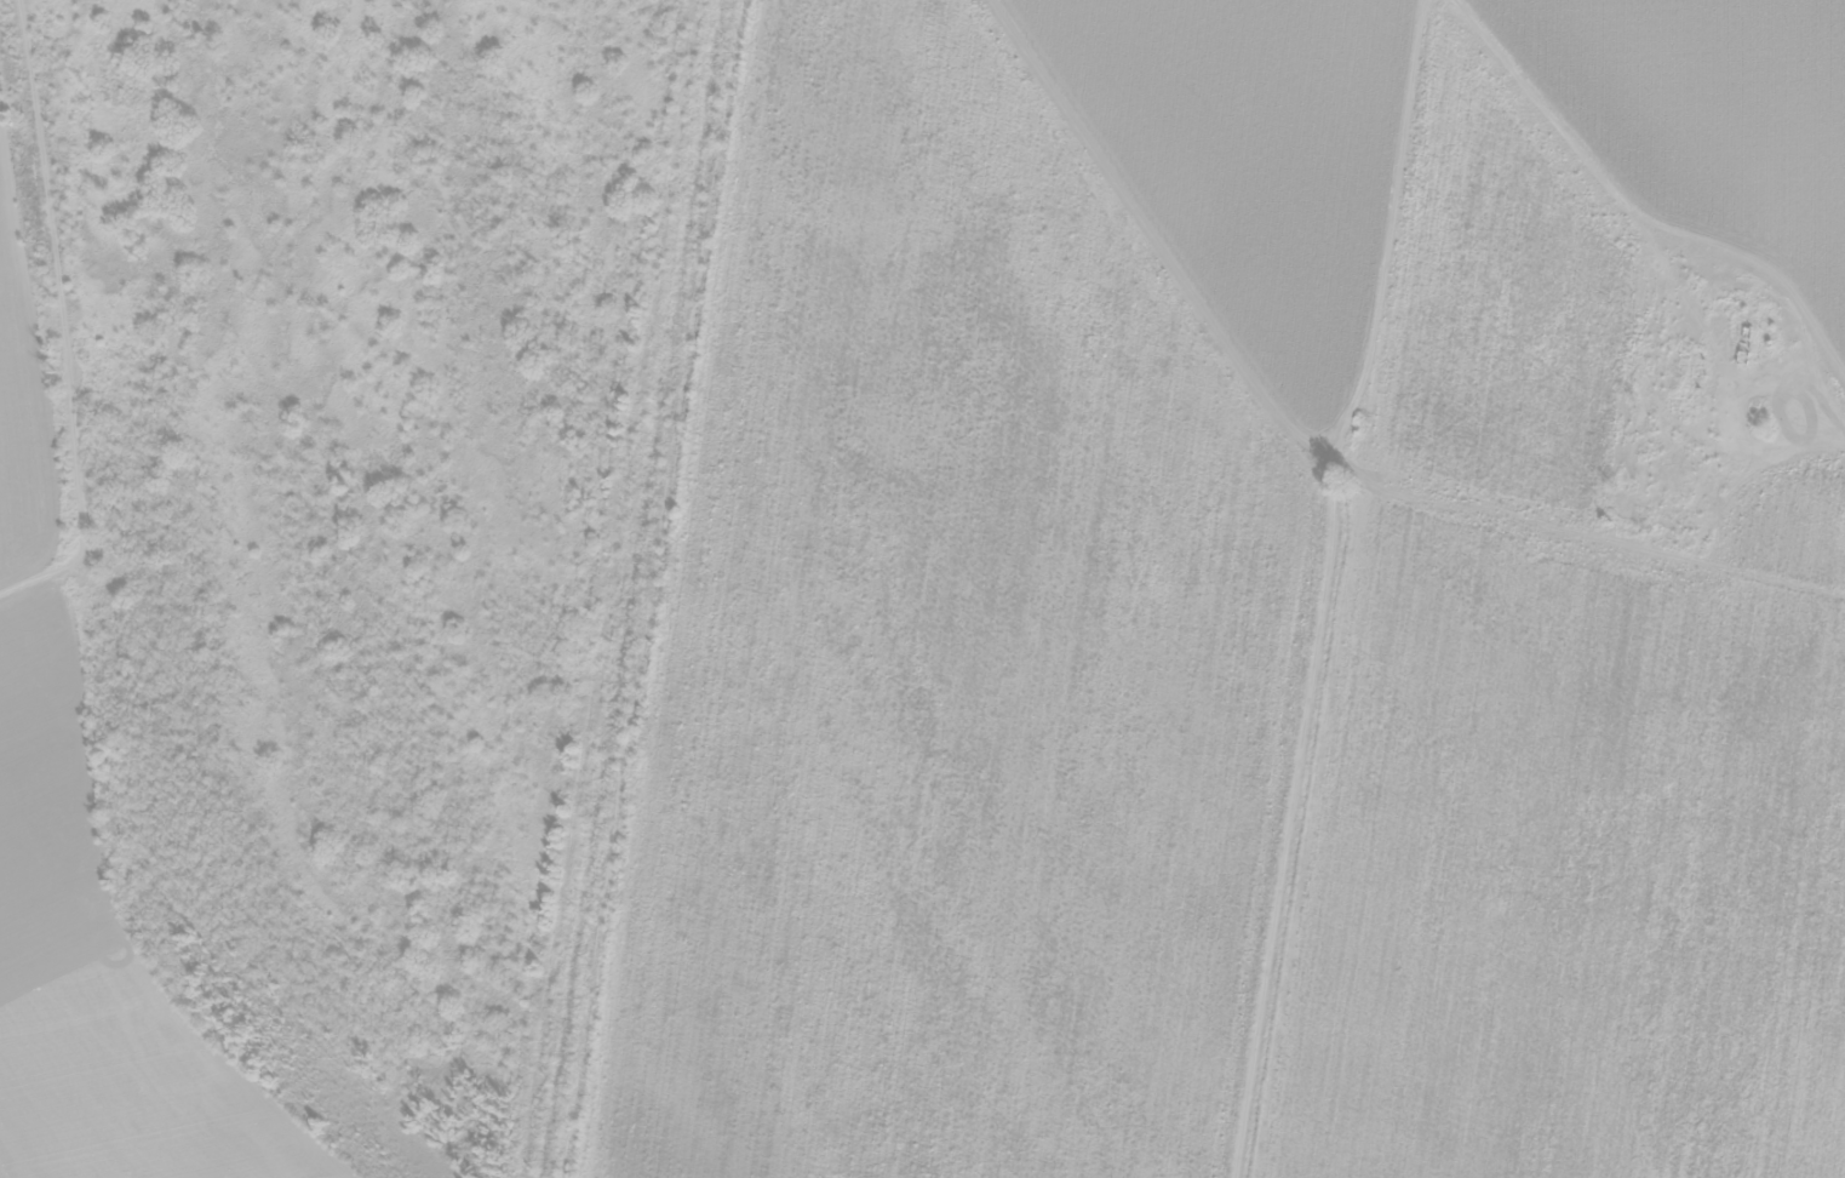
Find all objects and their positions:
road: (1667, 284)
road: (1324, 587)

